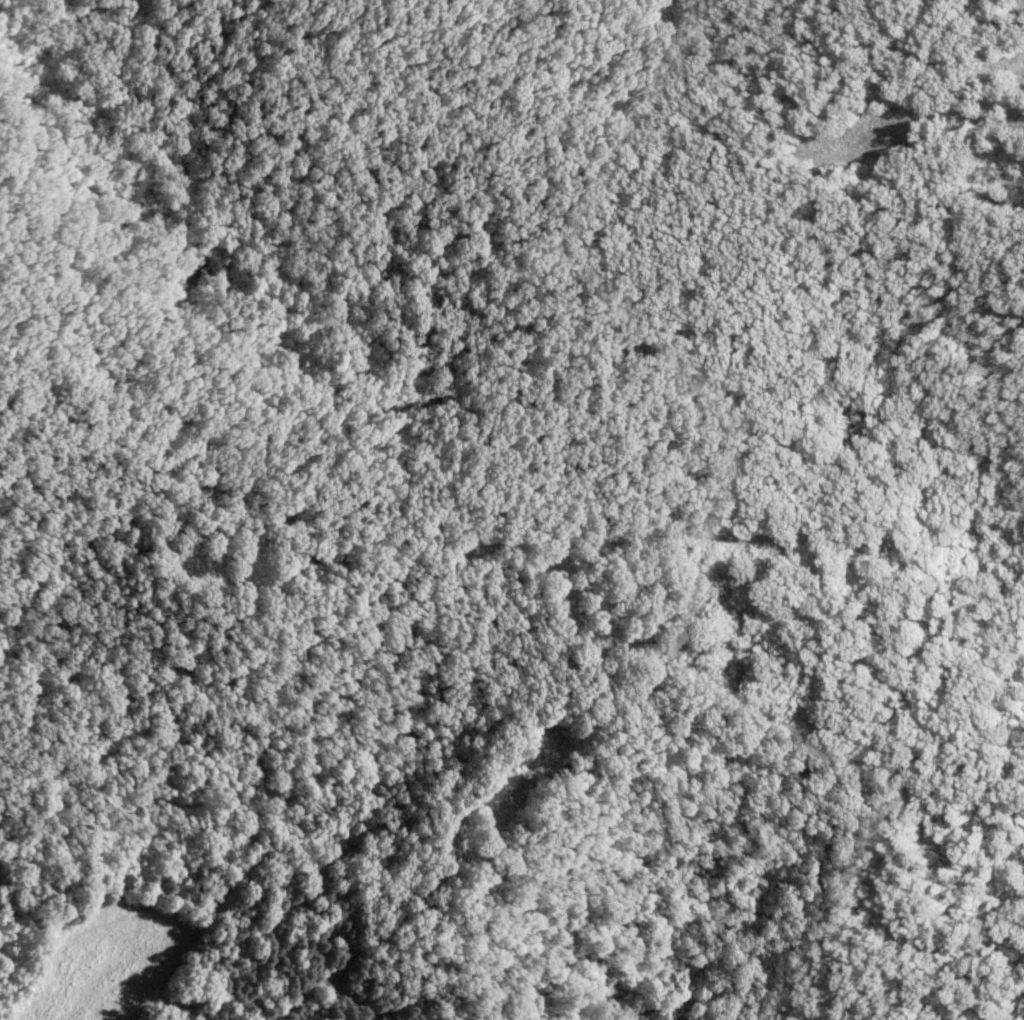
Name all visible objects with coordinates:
road: (969, 111)

